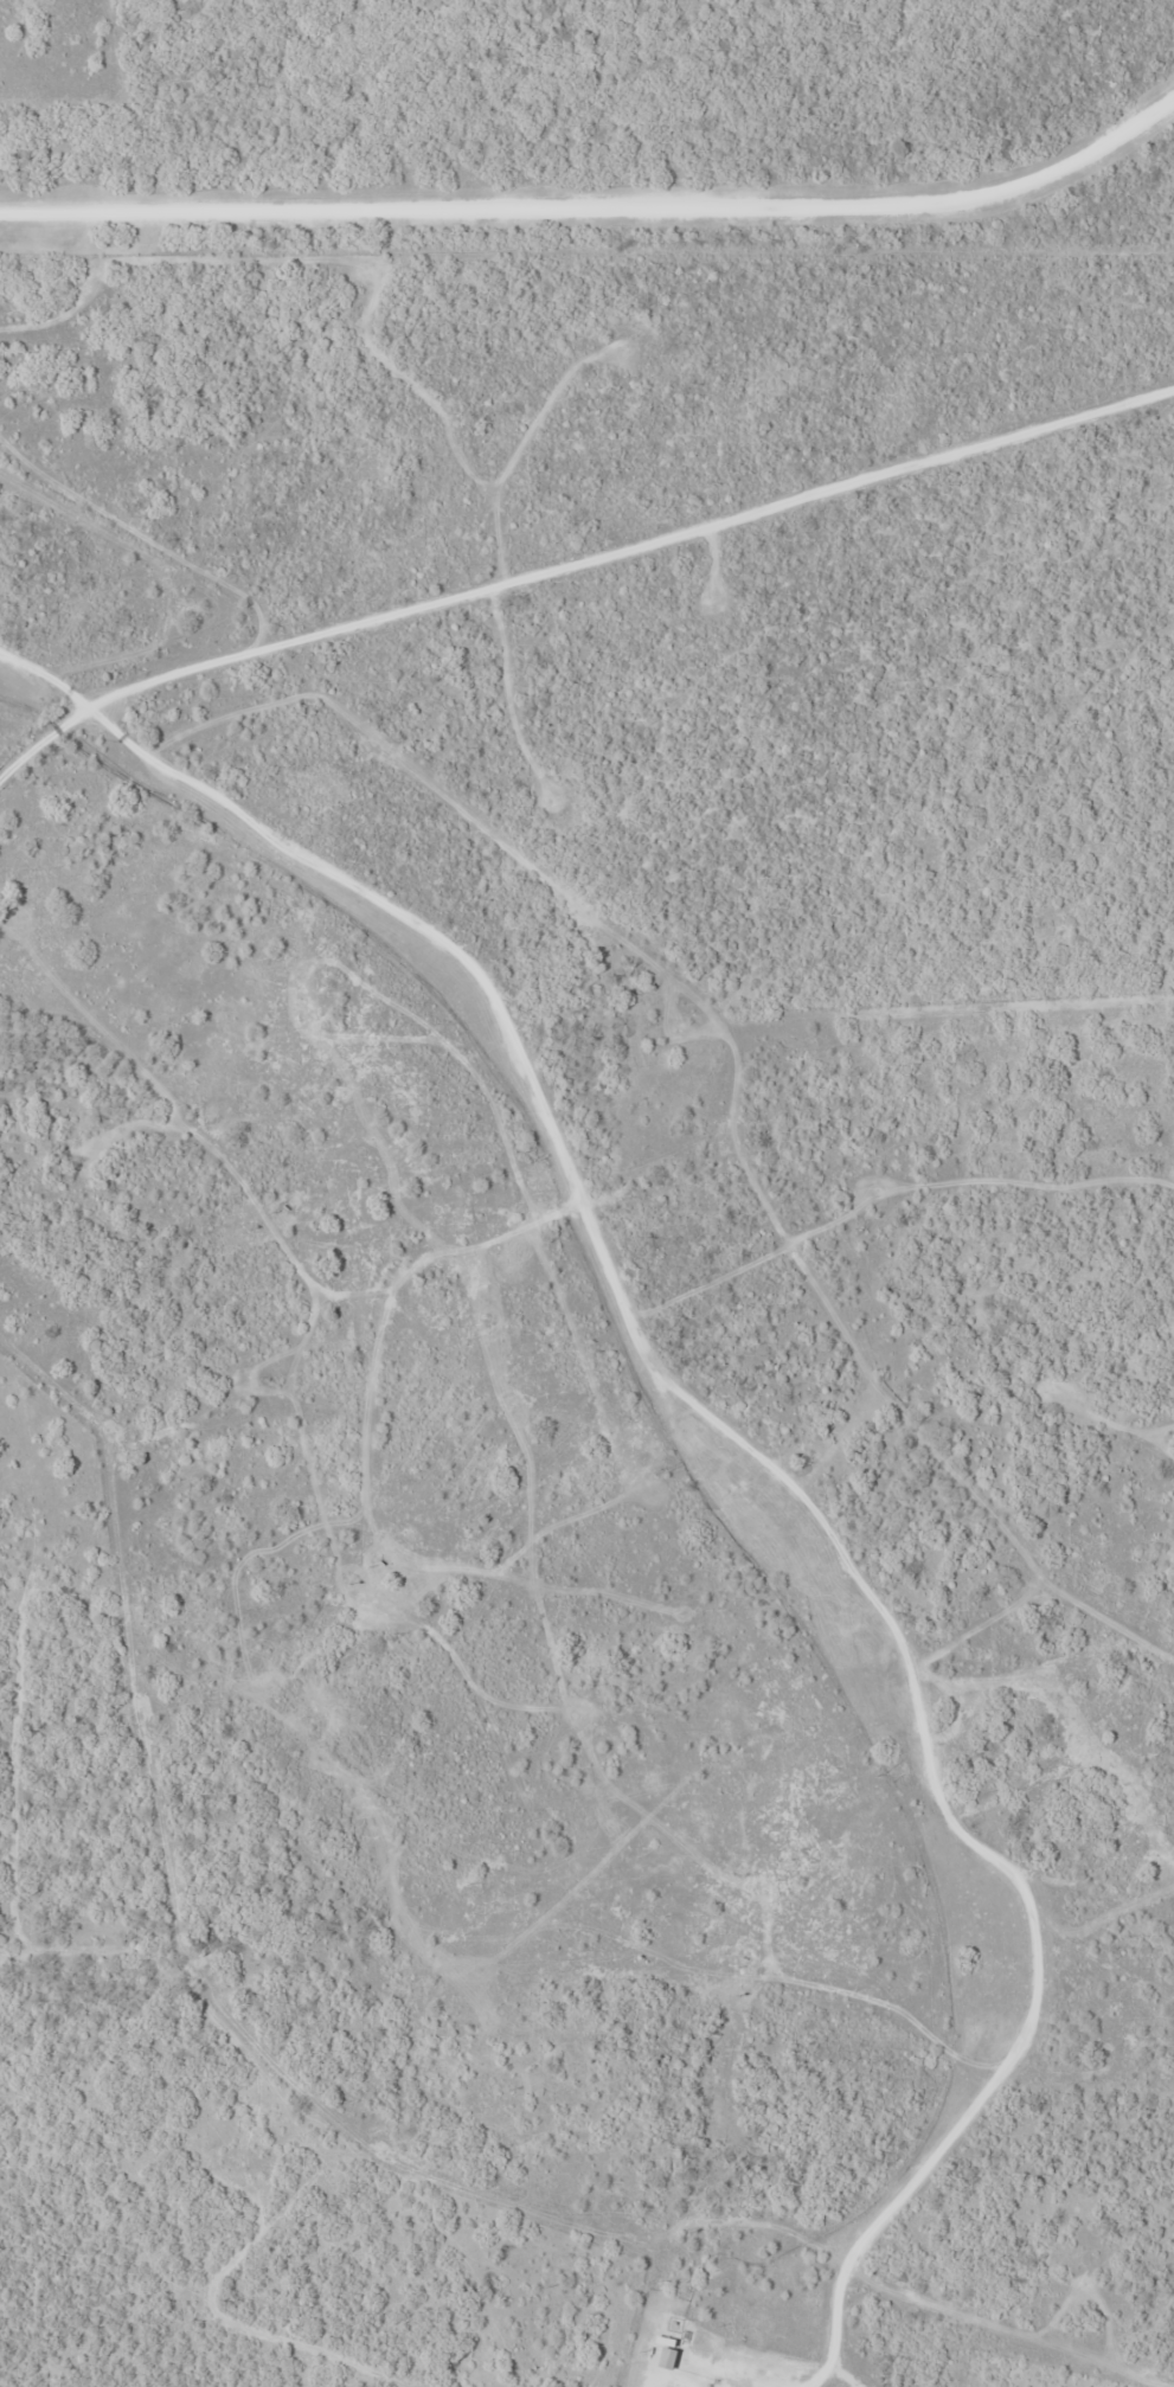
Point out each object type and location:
road: (577, 562)
building: (666, 2351)

